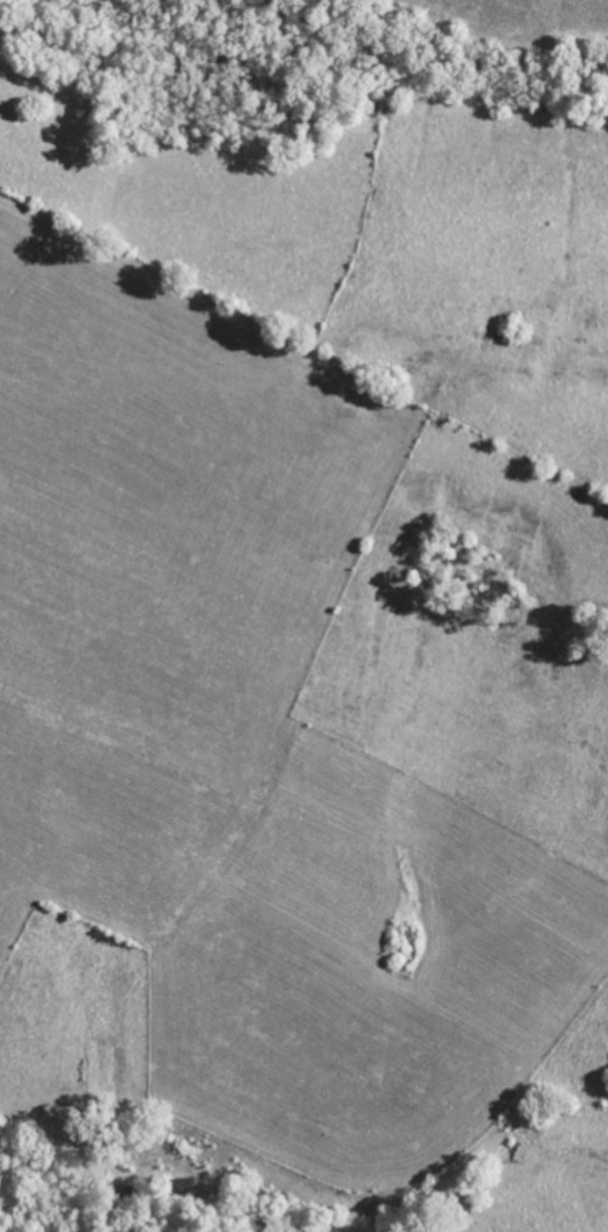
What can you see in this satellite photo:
road: (483, 796)

